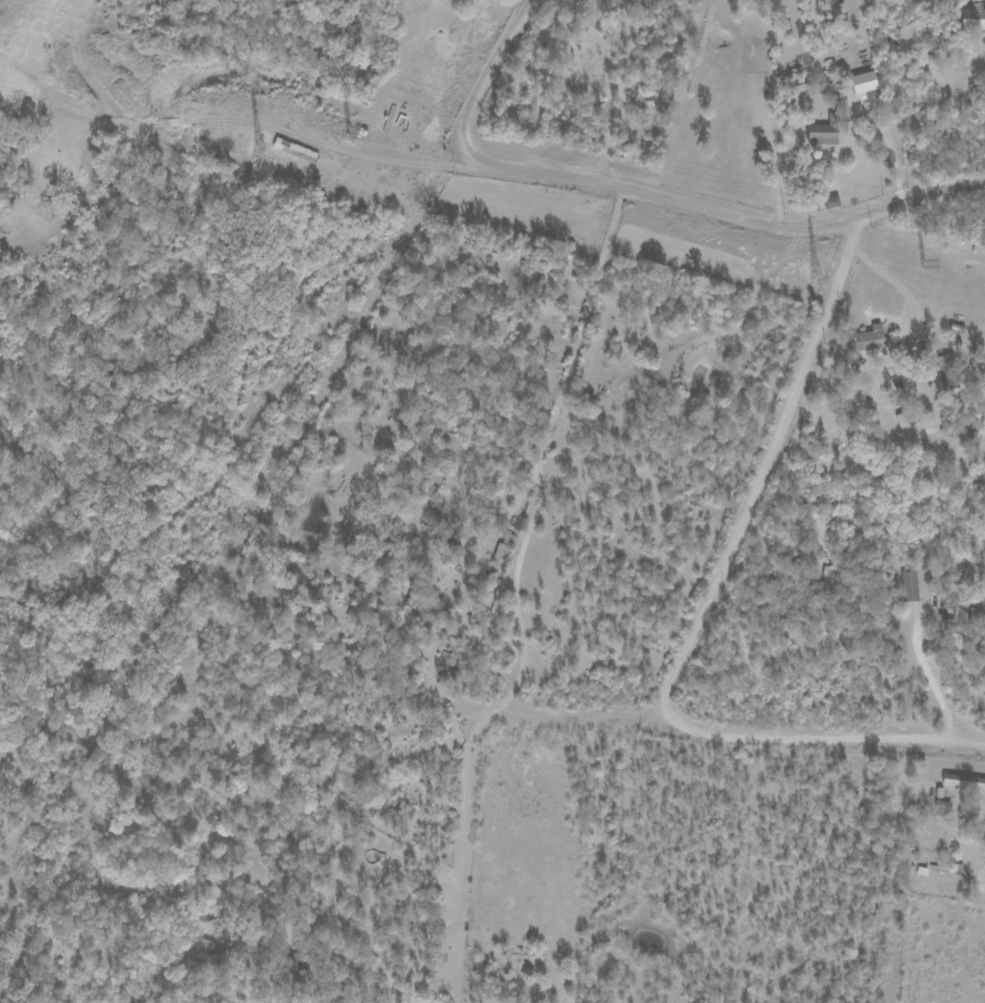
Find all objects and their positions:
building: (973, 18)
building: (905, 32)
road: (960, 76)
building: (864, 82)
road: (231, 123)
building: (825, 132)
power tower: (347, 134)
power tower: (258, 151)
road: (642, 193)
power tower: (922, 267)
power tower: (814, 282)
road: (901, 338)
building: (867, 342)
building: (947, 371)
building: (905, 428)
road: (766, 461)
road: (536, 469)
building: (907, 586)
road: (927, 678)
road: (818, 739)
building: (963, 781)
road: (459, 822)

